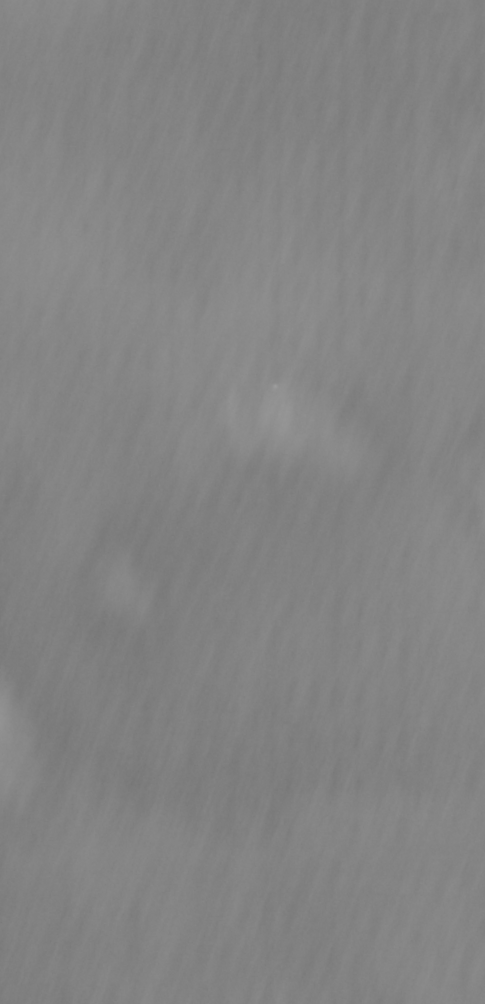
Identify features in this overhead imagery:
crop: (242, 502)

